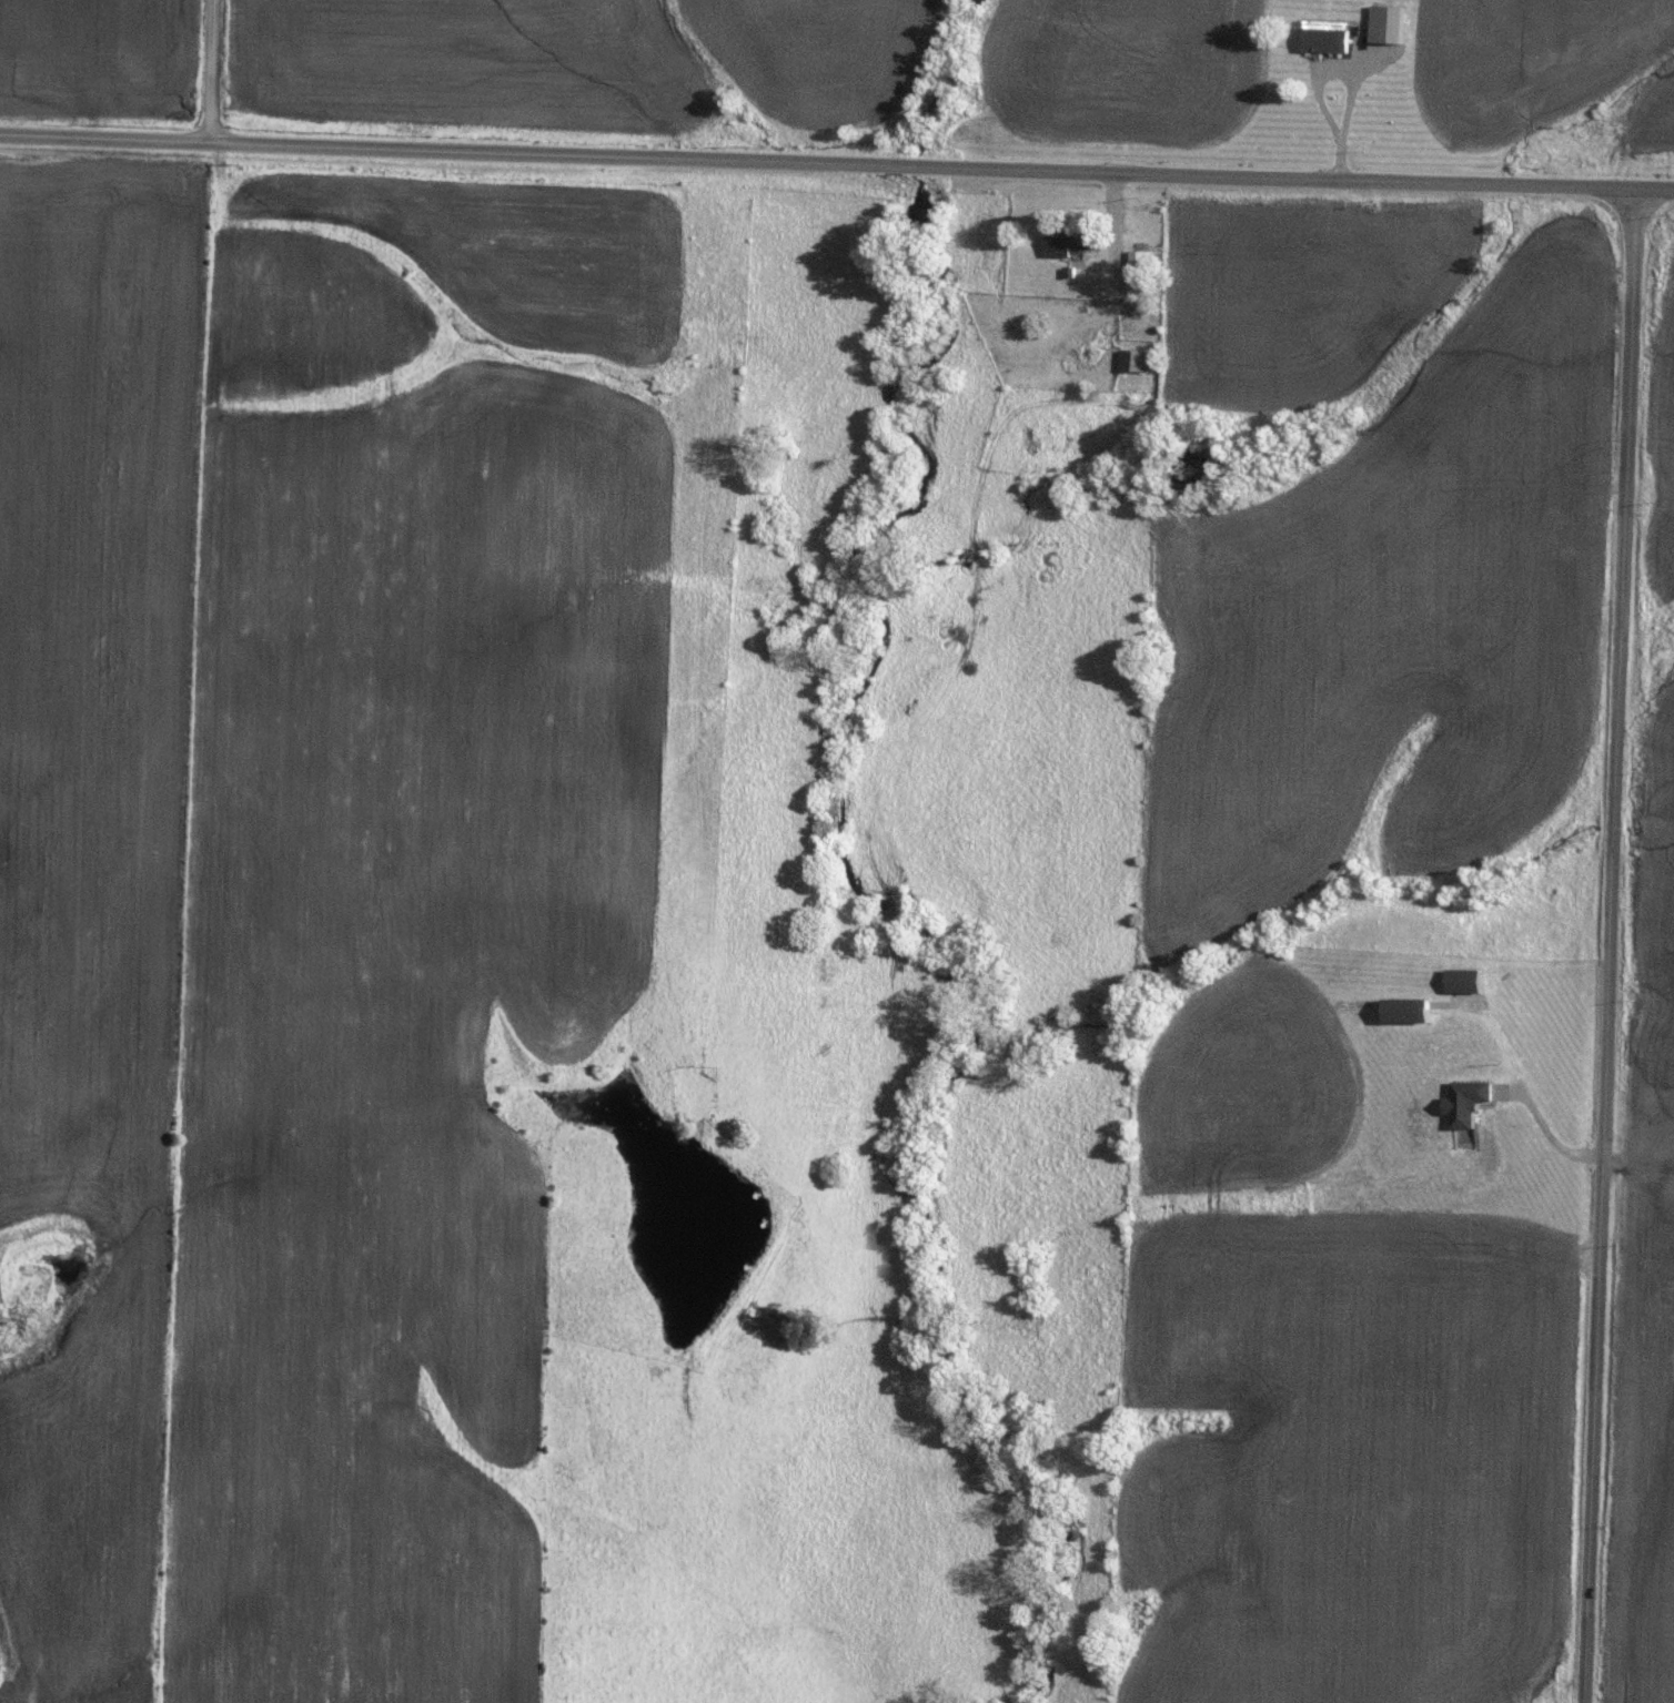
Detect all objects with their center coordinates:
building: (1379, 23)
building: (1323, 39)
road: (212, 71)
road: (1313, 80)
road: (1339, 156)
road: (836, 162)
building: (1061, 243)
building: (1132, 263)
building: (1128, 359)
road: (1611, 945)
building: (1398, 1011)
road: (1520, 1085)
building: (1459, 1103)

